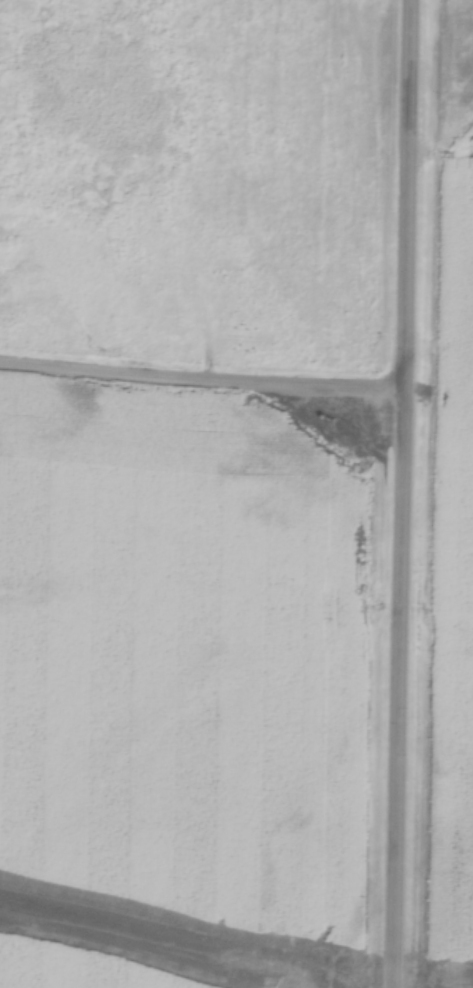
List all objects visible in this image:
road: (410, 494)

